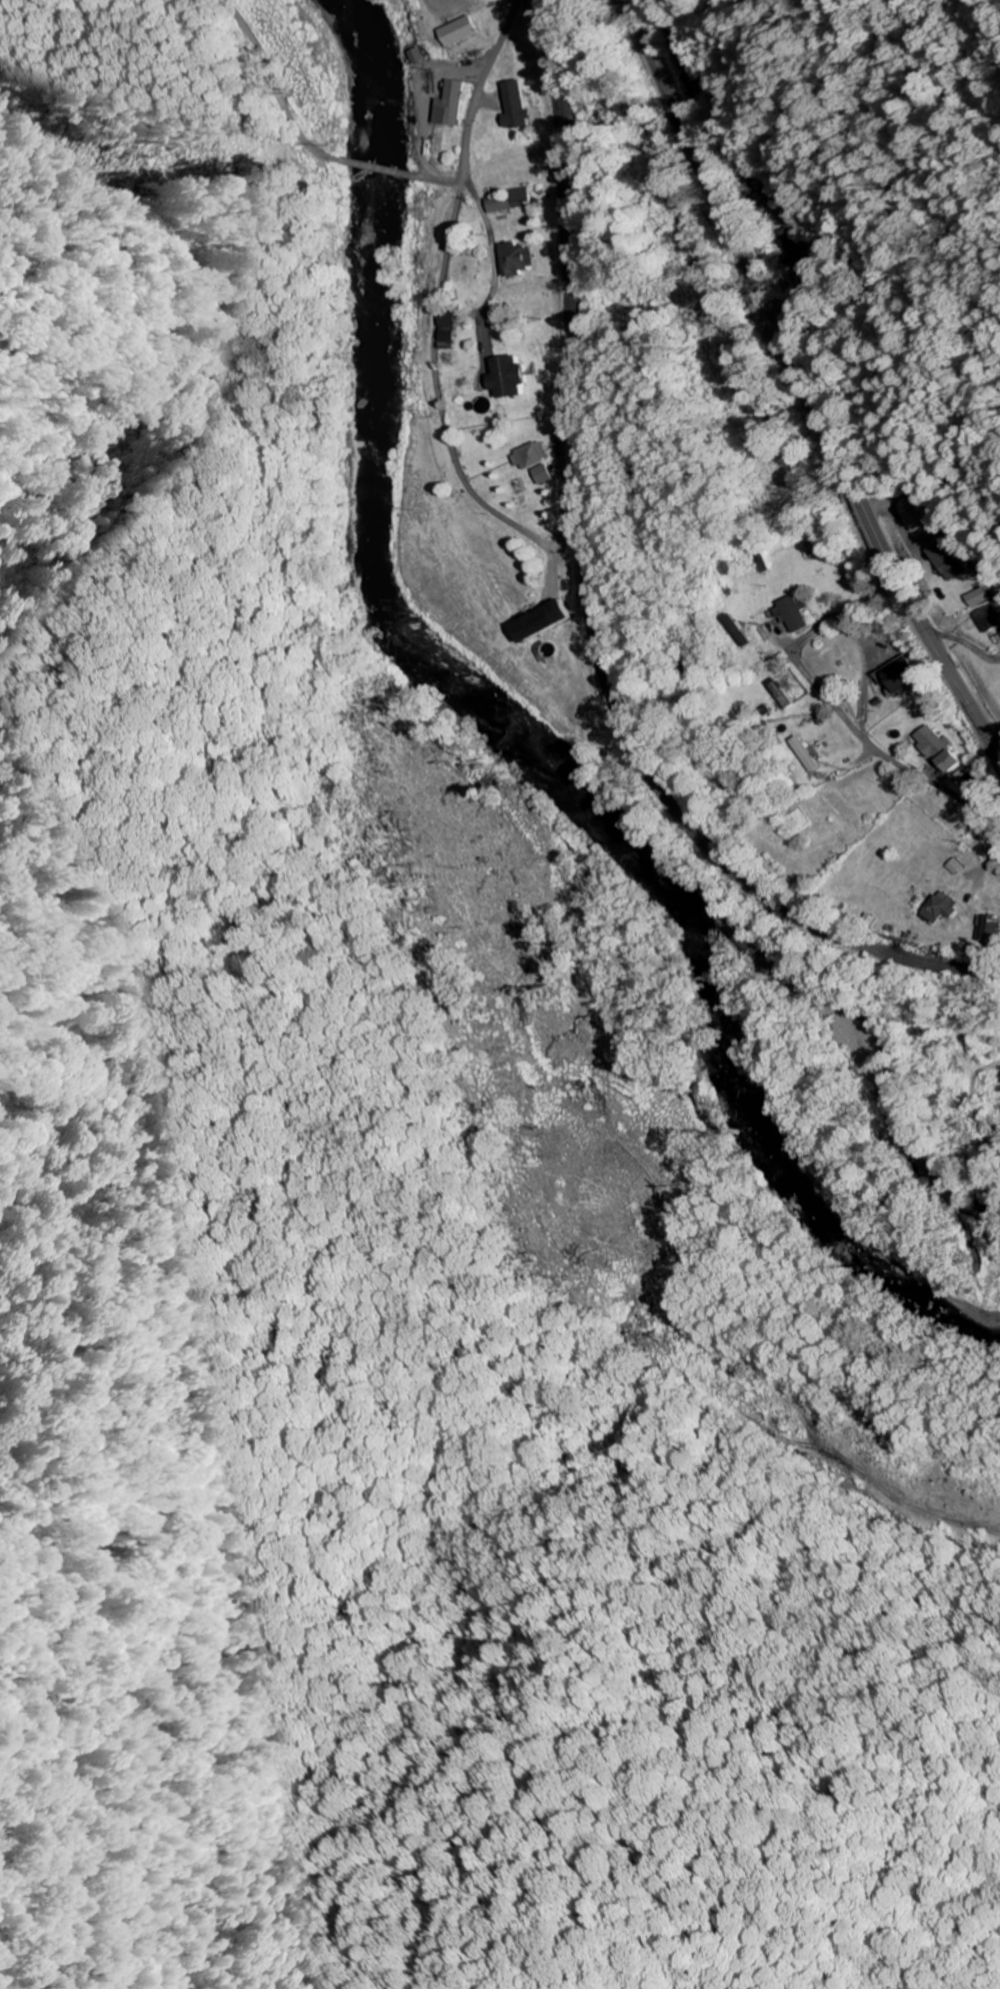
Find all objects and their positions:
building: (460, 30)
building: (416, 54)
road: (461, 68)
road: (276, 86)
road: (473, 91)
building: (450, 103)
building: (514, 105)
road: (378, 168)
road: (436, 183)
building: (518, 196)
building: (497, 202)
building: (791, 247)
building: (514, 258)
building: (447, 326)
building: (510, 376)
road: (803, 383)
road: (438, 396)
building: (531, 455)
road: (874, 466)
building: (543, 473)
building: (913, 519)
building: (942, 560)
railway: (590, 596)
building: (972, 597)
building: (795, 613)
building: (980, 618)
building: (544, 620)
building: (740, 629)
building: (898, 675)
road: (814, 679)
river: (516, 732)
building: (930, 741)
building: (811, 753)
building: (950, 760)
road: (931, 782)
building: (946, 907)
building: (993, 927)
road: (707, 1102)

